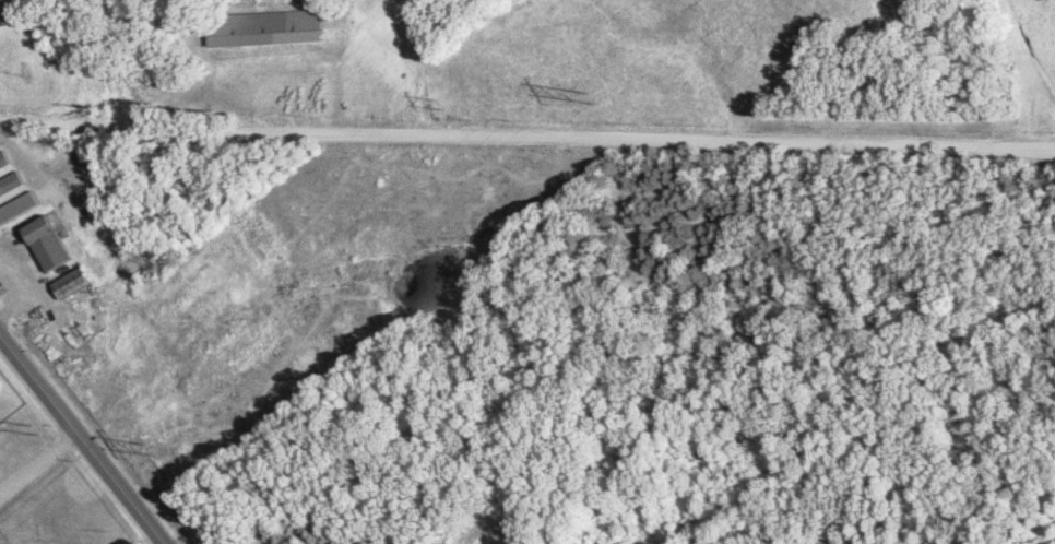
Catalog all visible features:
building: (271, 28)
power tower: (602, 96)
road: (526, 129)
building: (11, 188)
building: (19, 209)
building: (56, 244)
building: (80, 284)
road: (80, 437)
power tower: (158, 449)
road: (38, 464)

